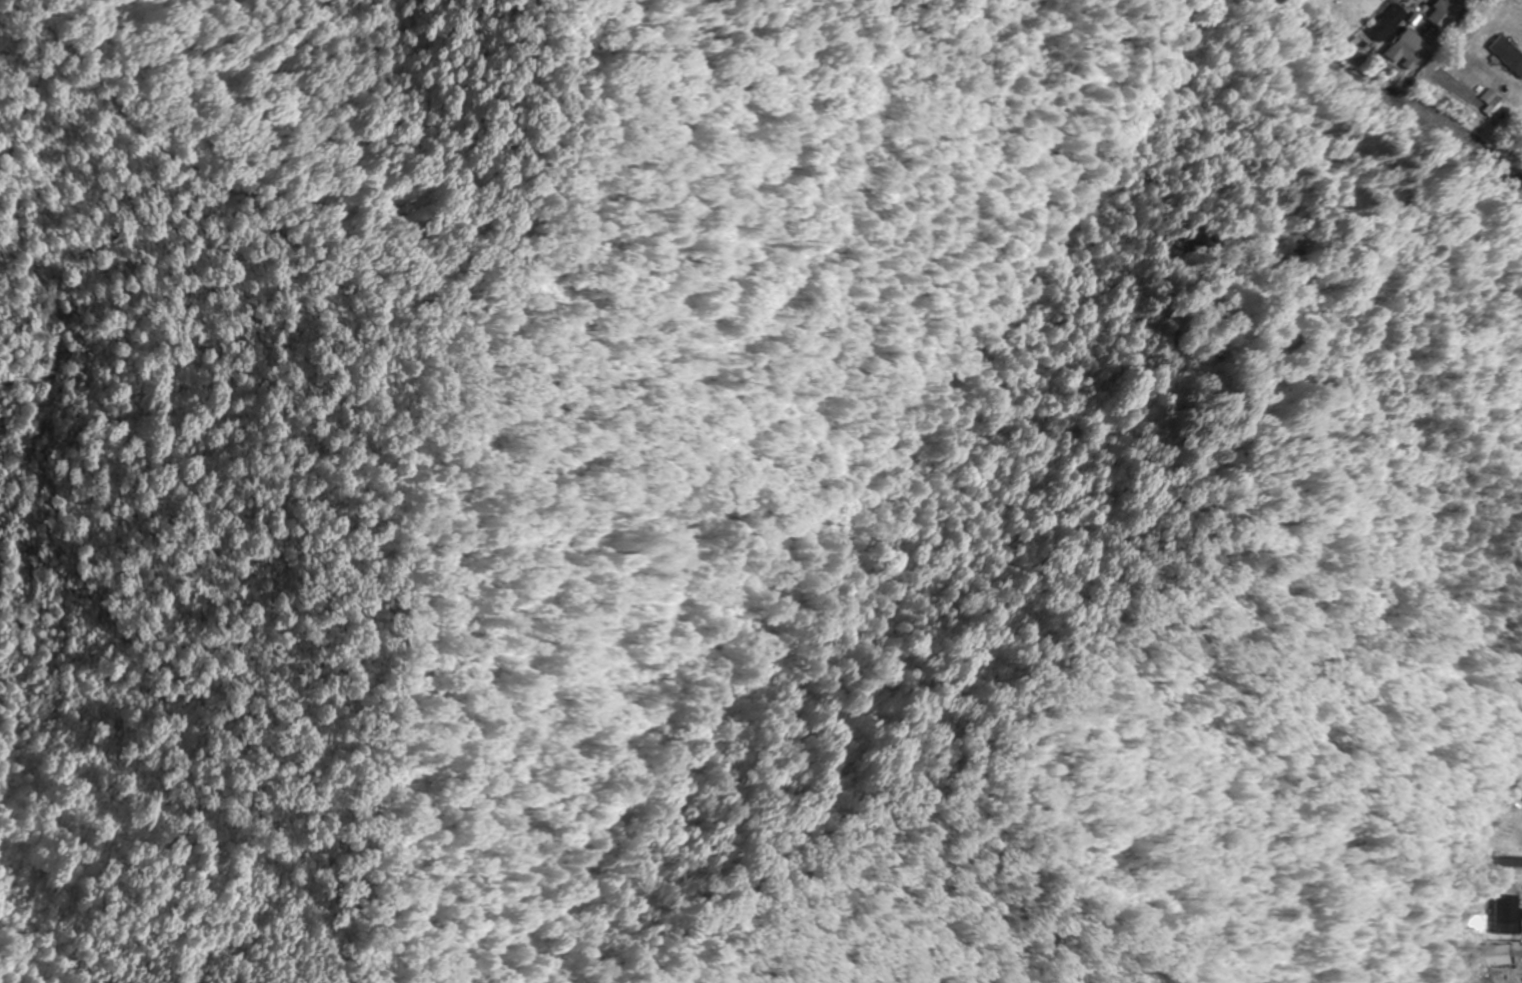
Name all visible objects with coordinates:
building: (1450, 4)
building: (1384, 22)
building: (1405, 46)
building: (1507, 55)
building: (1493, 100)
building: (1504, 863)
building: (1509, 910)
building: (1484, 921)
building: (1492, 955)

